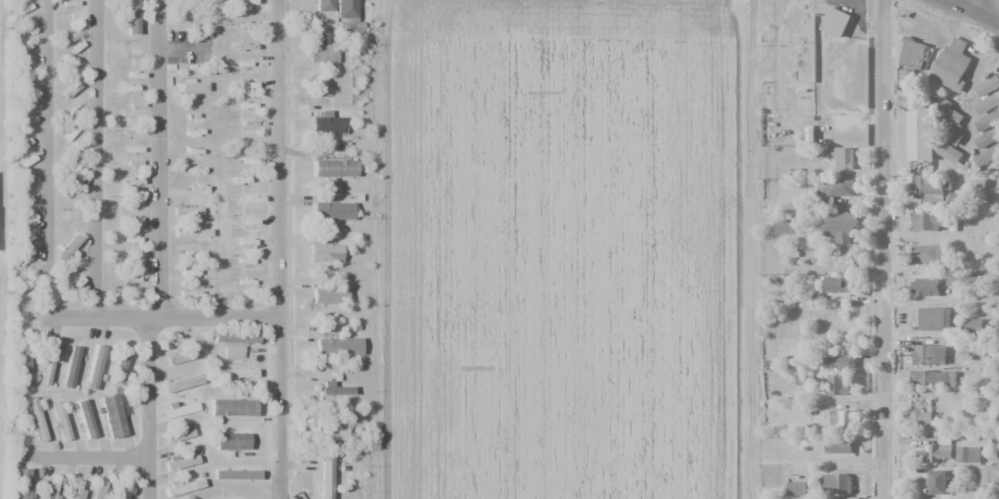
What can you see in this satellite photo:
building: (324, 5)
building: (247, 6)
road: (974, 6)
building: (346, 9)
road: (972, 12)
building: (132, 17)
building: (836, 22)
building: (322, 30)
building: (323, 54)
building: (913, 54)
building: (952, 65)
building: (907, 83)
building: (191, 86)
building: (988, 86)
building: (987, 104)
building: (949, 113)
building: (328, 124)
building: (987, 130)
building: (924, 135)
building: (952, 135)
building: (948, 152)
building: (987, 155)
building: (843, 157)
road: (95, 159)
road: (156, 159)
building: (26, 161)
building: (334, 168)
building: (77, 174)
building: (837, 188)
building: (929, 188)
building: (187, 211)
building: (331, 211)
building: (926, 220)
building: (785, 226)
building: (841, 227)
building: (192, 233)
building: (69, 248)
road: (278, 249)
road: (882, 249)
crop: (563, 250)
building: (324, 253)
building: (928, 253)
road: (45, 274)
building: (837, 284)
building: (925, 286)
building: (329, 295)
building: (972, 326)
building: (235, 337)
building: (337, 347)
building: (233, 352)
building: (929, 354)
building: (173, 359)
building: (839, 361)
building: (48, 363)
building: (24, 366)
building: (71, 367)
building: (95, 367)
building: (119, 368)
building: (235, 373)
building: (924, 377)
building: (182, 383)
building: (837, 384)
building: (334, 389)
building: (232, 407)
road: (147, 408)
building: (179, 410)
building: (112, 416)
building: (85, 418)
building: (37, 419)
building: (840, 419)
building: (921, 419)
building: (61, 420)
building: (330, 432)
building: (178, 434)
building: (232, 441)
building: (838, 446)
building: (971, 447)
building: (941, 448)
road: (77, 459)
building: (180, 462)
building: (236, 474)
building: (325, 477)
building: (937, 482)
building: (21, 483)
building: (836, 483)
building: (51, 486)
building: (184, 487)
building: (796, 488)
building: (77, 489)
building: (101, 490)
building: (124, 490)

